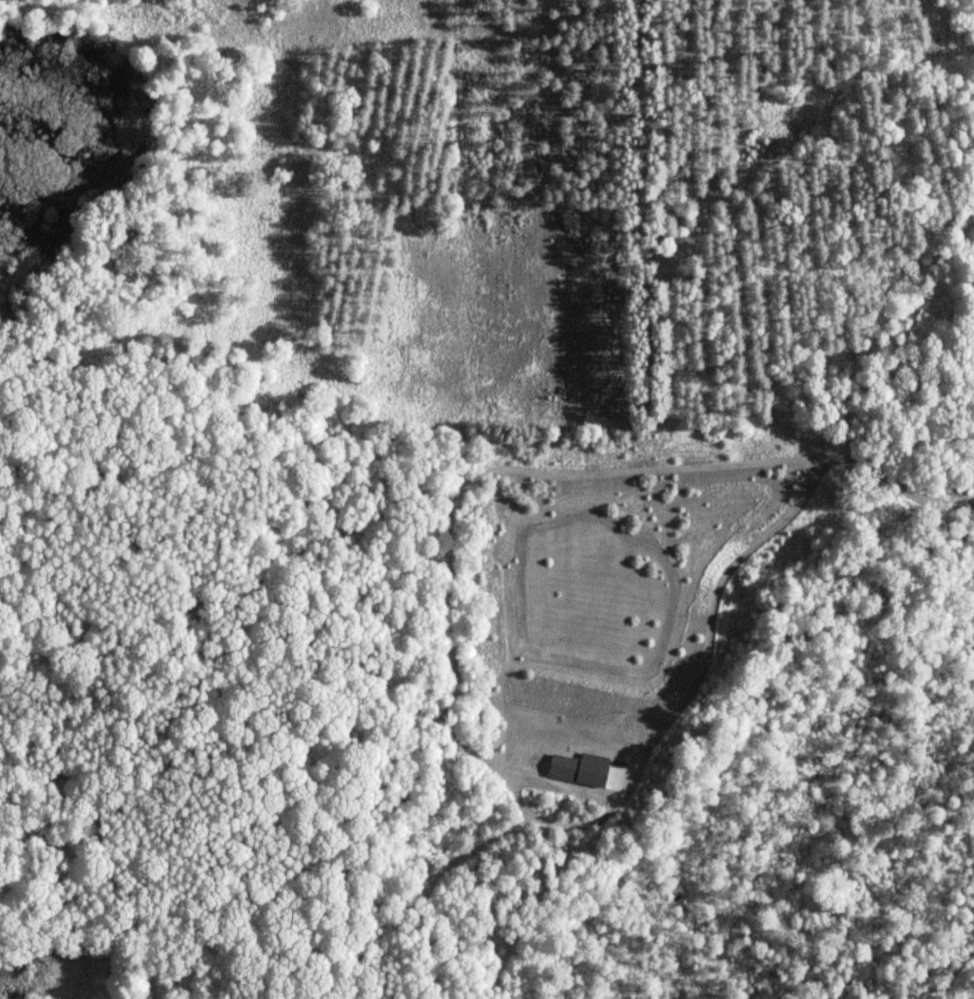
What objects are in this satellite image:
building: (594, 772)

